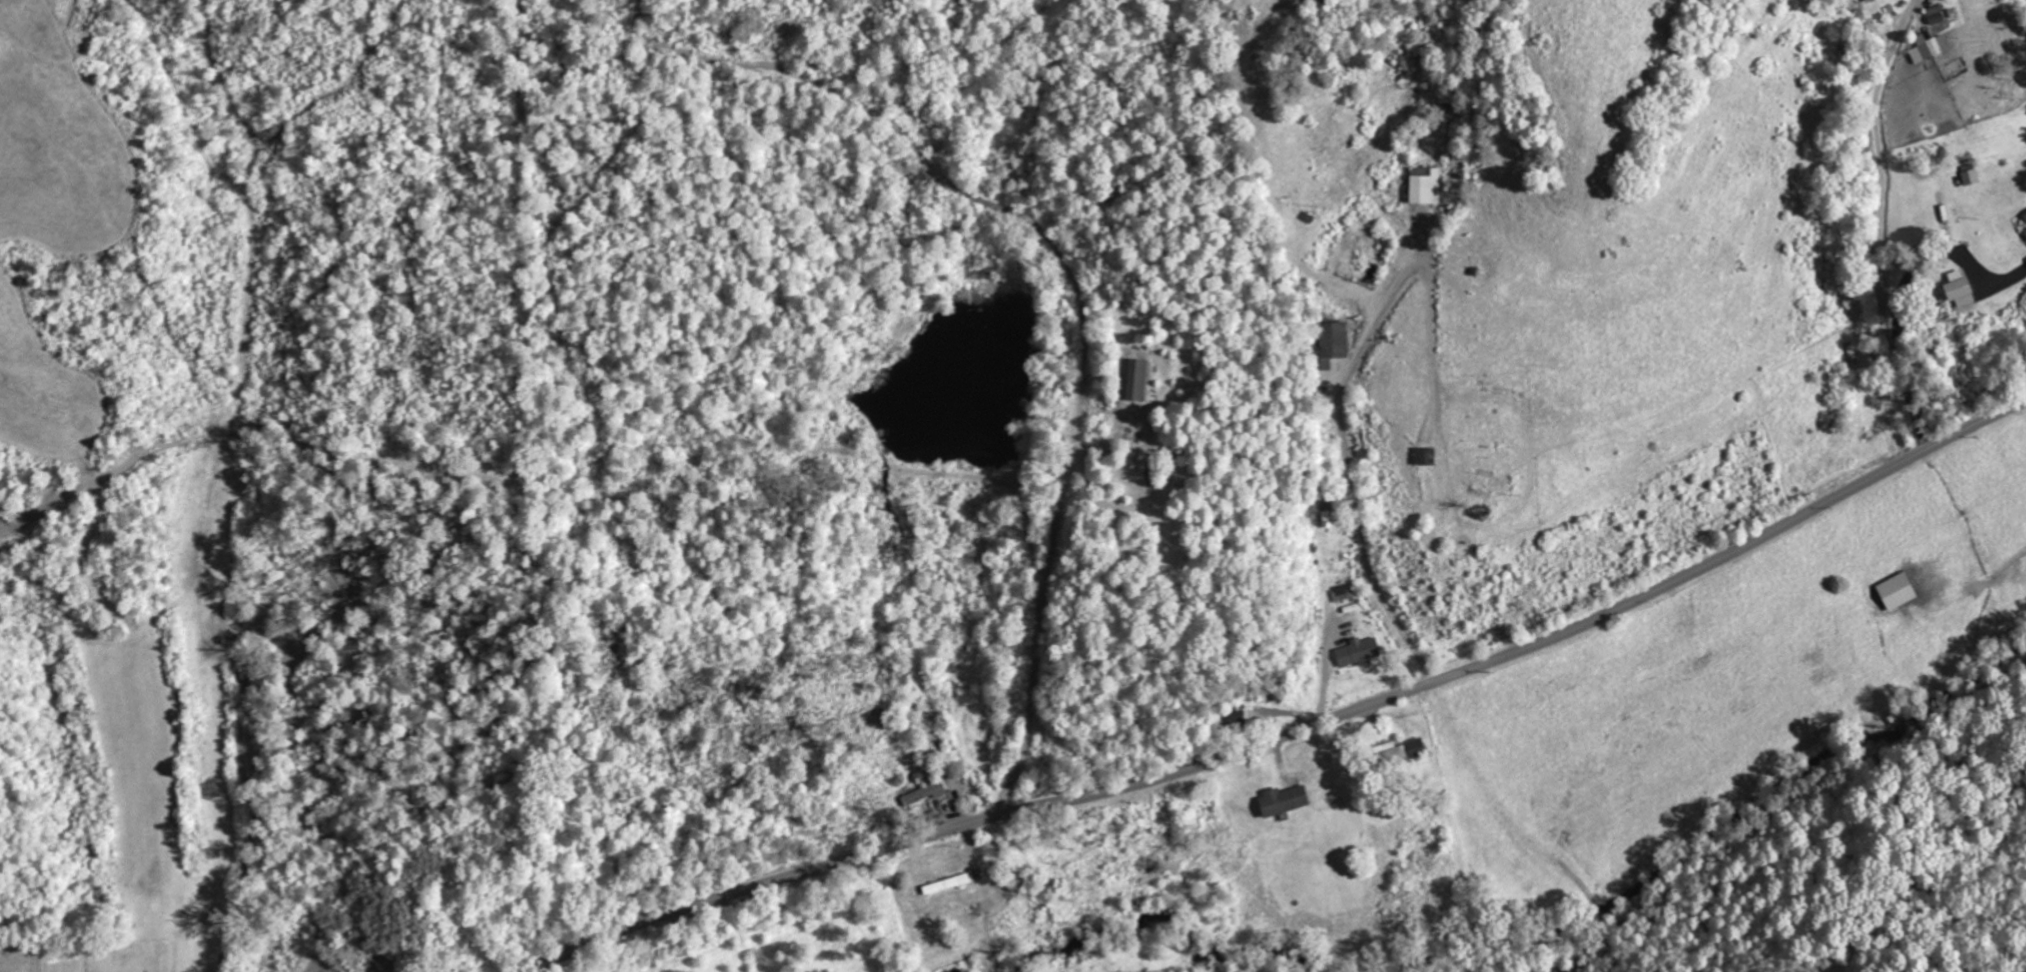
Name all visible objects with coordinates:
building: (1929, 48)
building: (1970, 178)
building: (1425, 187)
building: (2025, 216)
road: (1879, 227)
building: (2025, 232)
building: (1960, 289)
road: (1901, 293)
building: (1334, 341)
building: (1135, 380)
road: (1348, 383)
building: (1426, 456)
building: (1897, 591)
building: (1343, 593)
road: (3, 614)
building: (1358, 652)
road: (1297, 732)
building: (925, 794)
building: (1283, 801)
road: (191, 884)
road: (18, 936)

